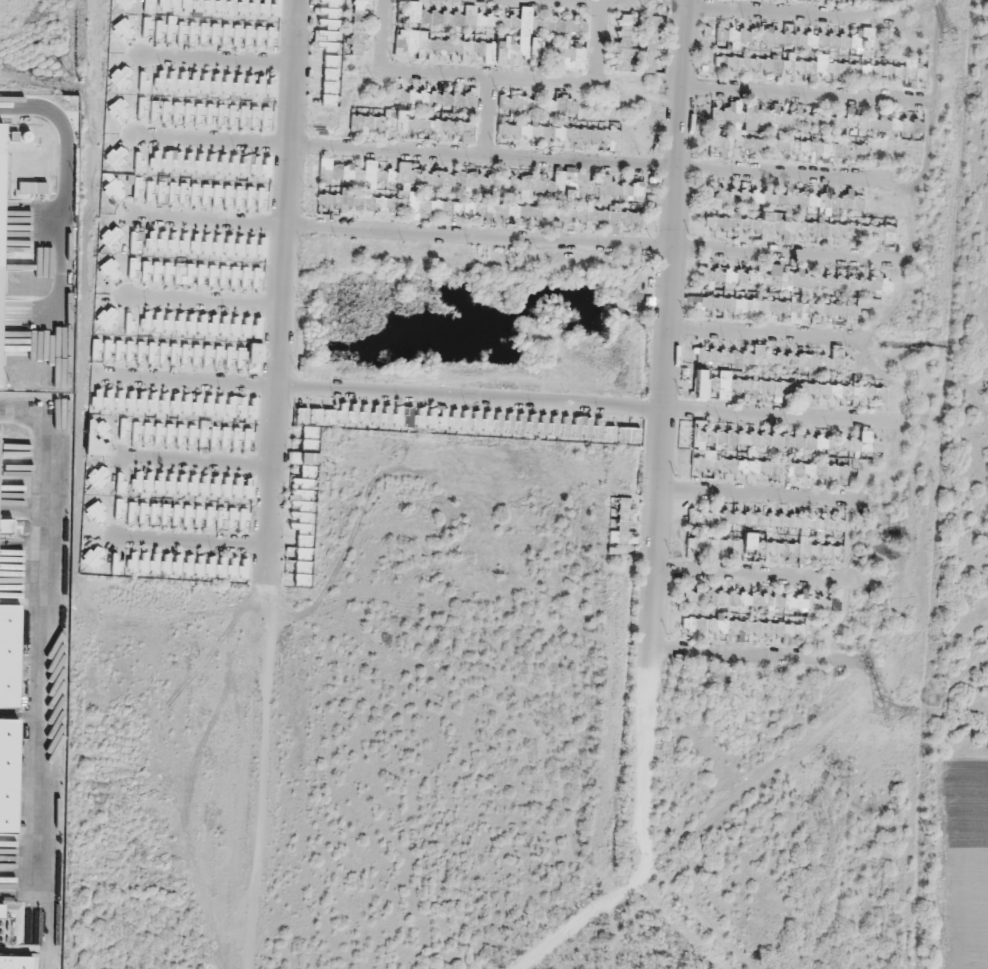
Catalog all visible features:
power tower: (949, 34)
power tower: (908, 692)

